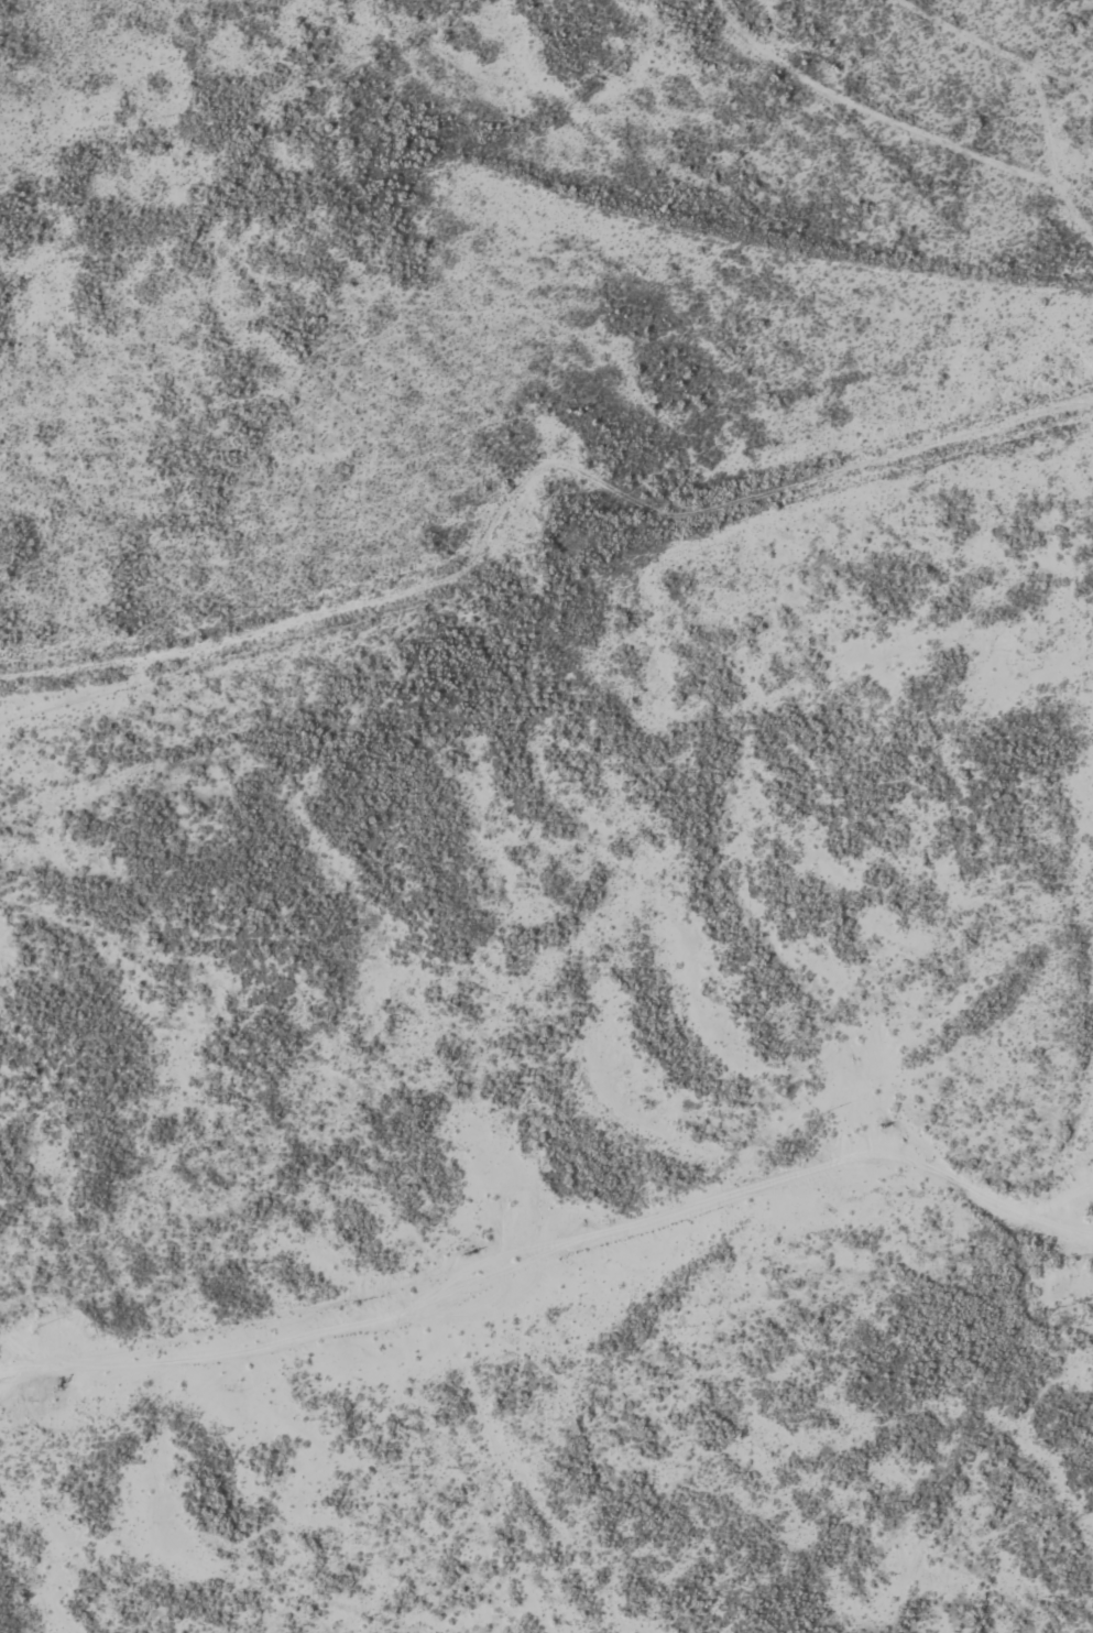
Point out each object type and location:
road: (531, 478)
road: (593, 1233)
road: (510, 1459)
road: (24, 1591)

